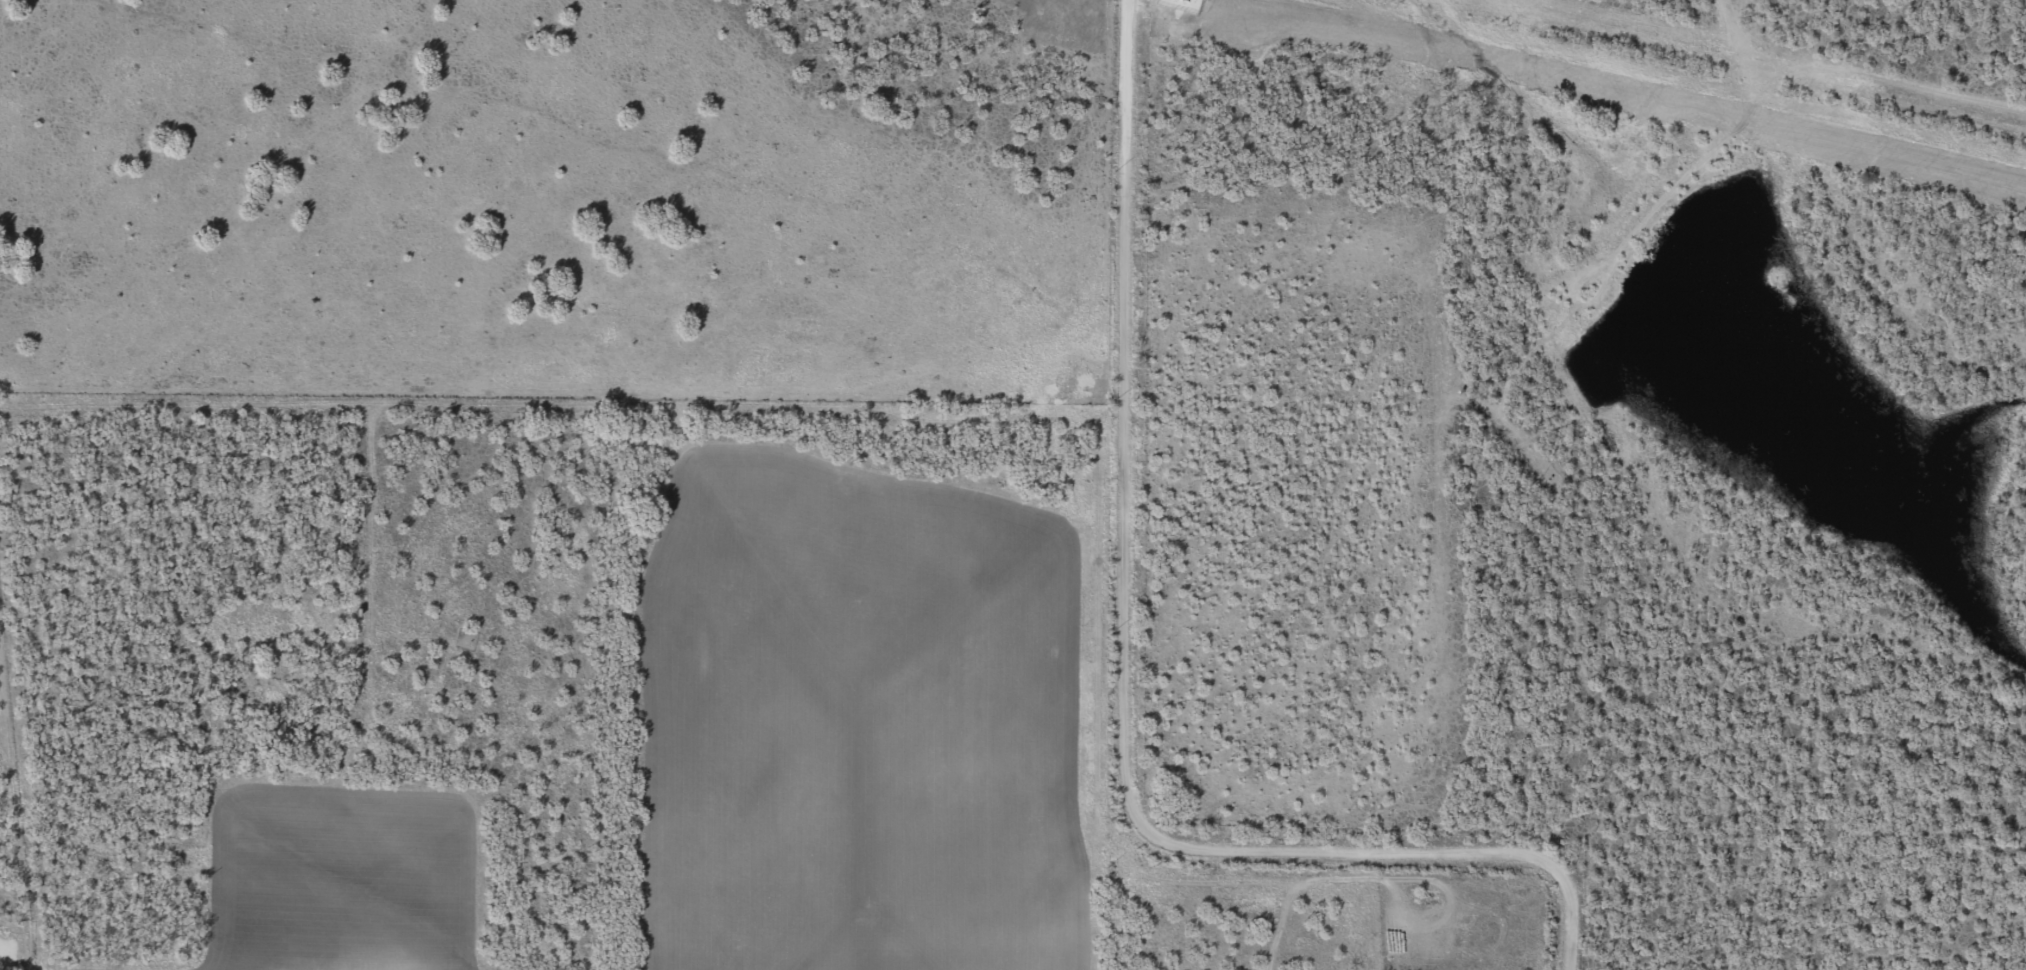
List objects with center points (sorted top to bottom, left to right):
road: (1122, 677)

